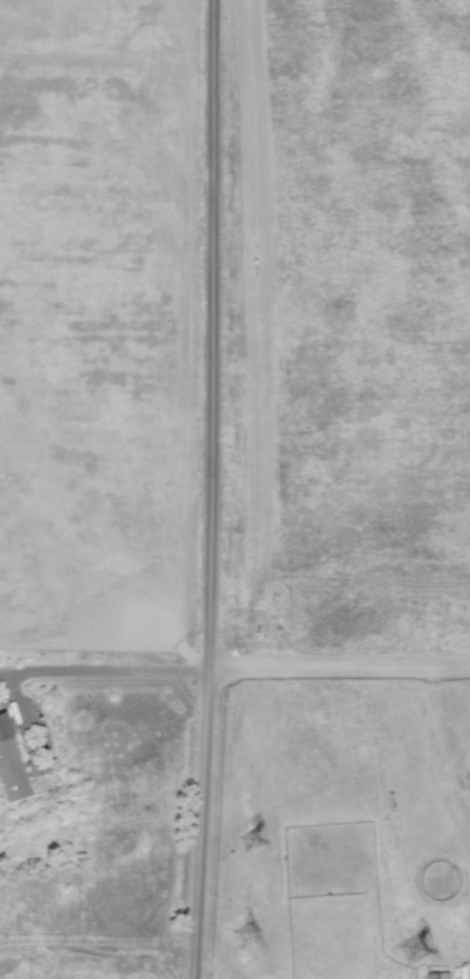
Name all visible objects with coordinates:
road: (209, 489)
road: (338, 667)
road: (118, 673)
road: (14, 679)
building: (10, 765)
power tower: (251, 845)
power tower: (251, 937)
power tower: (418, 952)
building: (435, 975)

